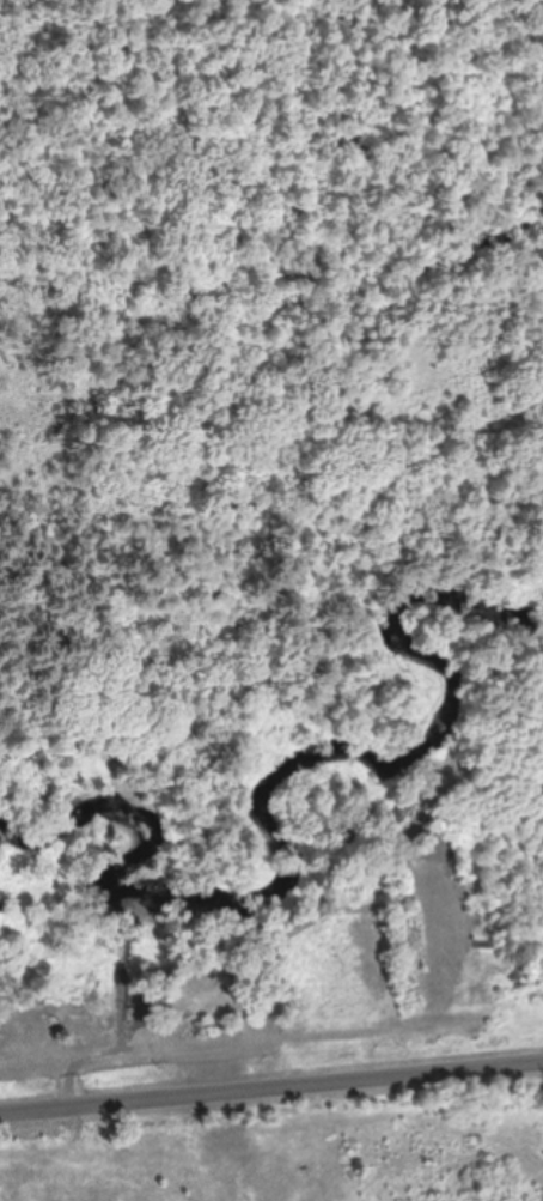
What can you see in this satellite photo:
road: (271, 1084)

